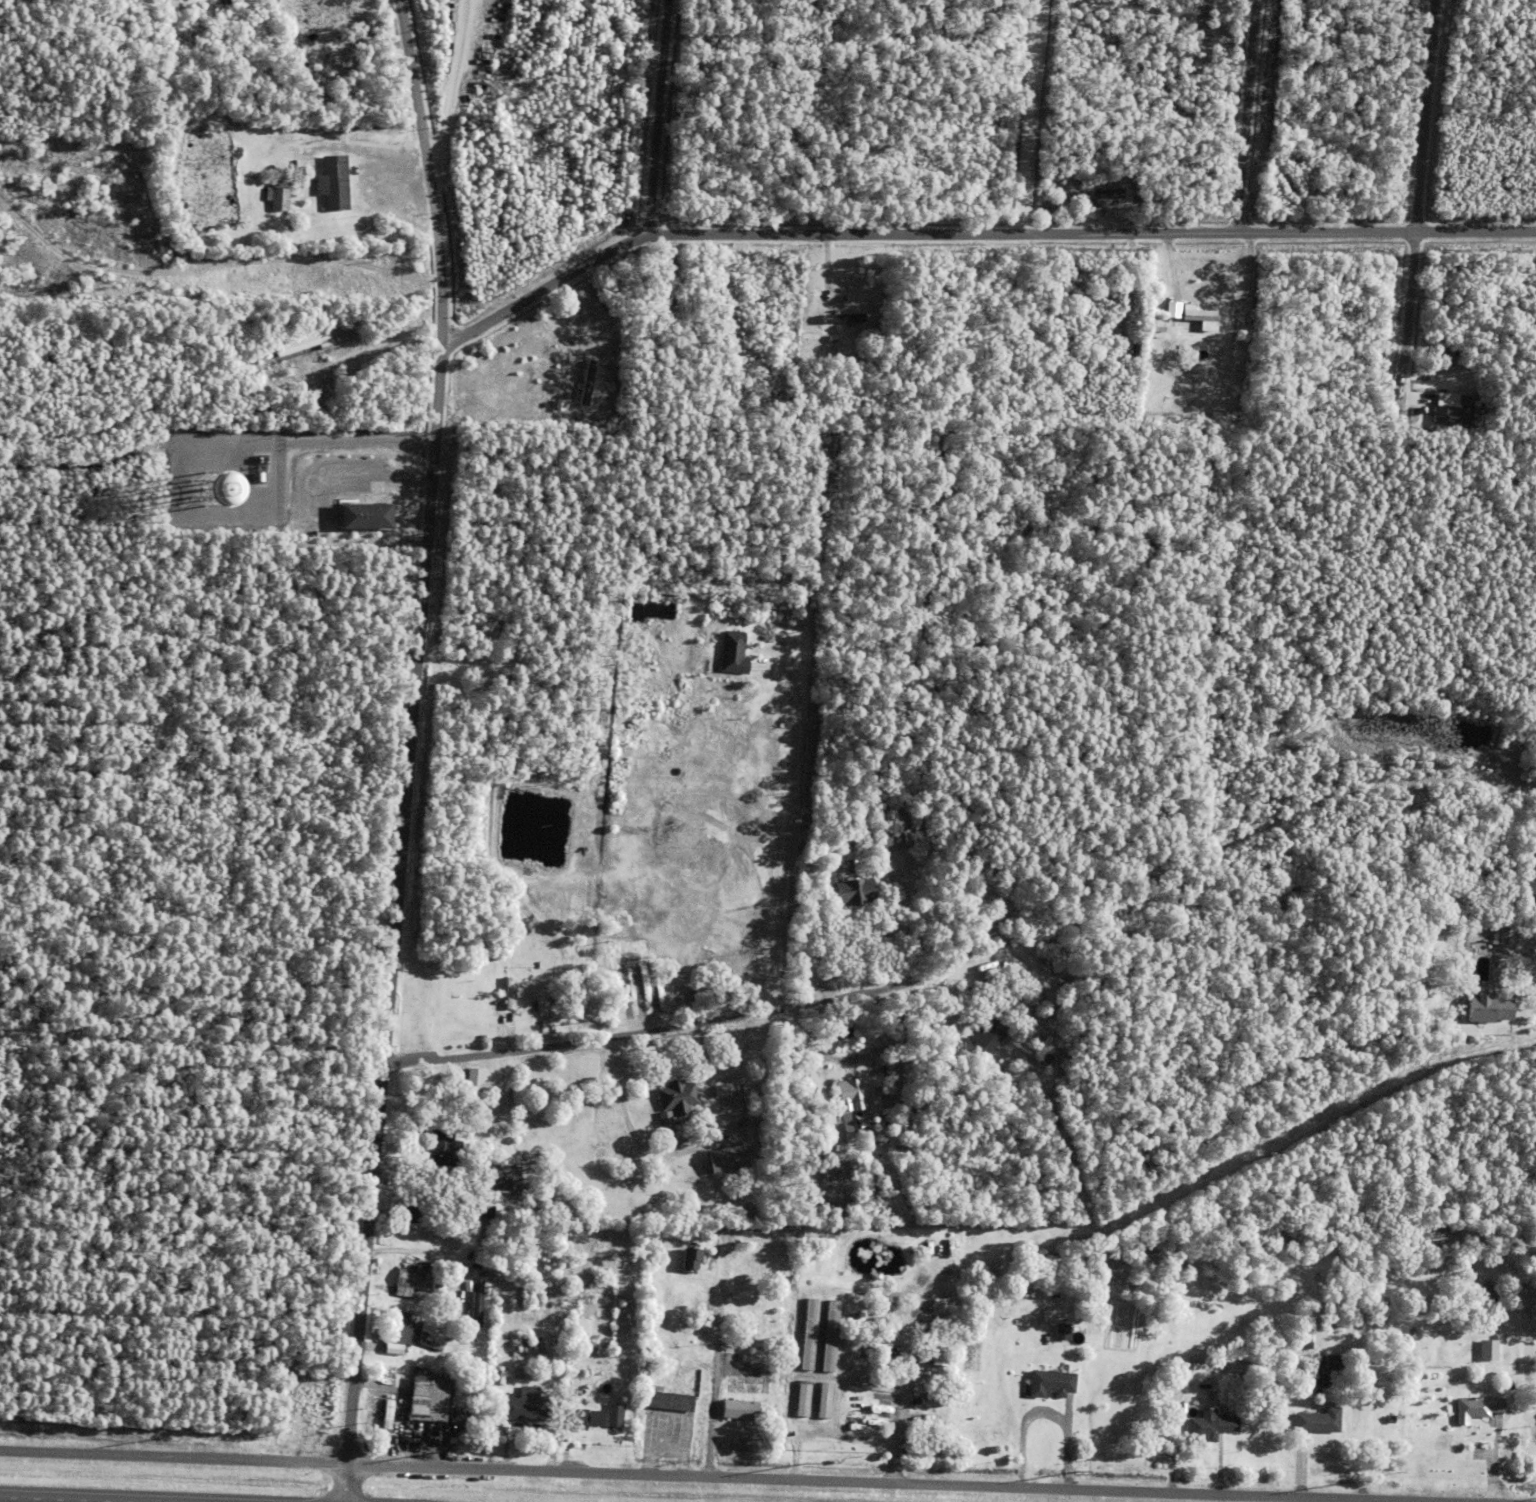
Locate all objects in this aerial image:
building: (219, 6)
building: (180, 30)
road: (855, 37)
road: (1249, 115)
road: (658, 116)
road: (1035, 116)
building: (313, 169)
building: (335, 183)
building: (1291, 185)
building: (1269, 188)
building: (1099, 195)
building: (277, 199)
road: (1419, 206)
road: (1092, 233)
road: (544, 288)
building: (1138, 302)
building: (1198, 316)
building: (844, 317)
building: (1514, 323)
building: (1335, 324)
building: (1158, 329)
building: (555, 334)
building: (345, 336)
building: (302, 343)
building: (1134, 351)
building: (541, 367)
building: (1451, 370)
building: (587, 383)
building: (1446, 403)
building: (555, 406)
building: (1446, 415)
building: (1426, 417)
building: (366, 516)
building: (732, 653)
road: (410, 750)
building: (890, 838)
building: (907, 840)
building: (849, 865)
road: (1531, 883)
building: (855, 892)
building: (1492, 938)
building: (698, 953)
building: (710, 959)
building: (1007, 966)
building: (551, 976)
road: (958, 979)
building: (1513, 991)
building: (510, 994)
building: (465, 995)
building: (475, 996)
road: (802, 1004)
building: (1487, 1010)
building: (988, 1034)
building: (471, 1081)
building: (856, 1090)
building: (730, 1094)
building: (672, 1095)
building: (913, 1103)
building: (895, 1120)
building: (665, 1121)
building: (842, 1125)
building: (852, 1135)
building: (438, 1147)
building: (722, 1158)
building: (479, 1169)
building: (500, 1178)
building: (403, 1209)
building: (480, 1210)
building: (690, 1246)
building: (405, 1277)
building: (449, 1288)
building: (1049, 1293)
building: (876, 1297)
building: (470, 1301)
building: (475, 1302)
building: (583, 1325)
building: (391, 1330)
building: (1058, 1331)
building: (804, 1334)
building: (825, 1336)
building: (424, 1342)
building: (1302, 1343)
building: (523, 1344)
building: (1488, 1349)
building: (915, 1355)
building: (1435, 1355)
building: (935, 1356)
building: (1321, 1367)
building: (1046, 1383)
building: (421, 1398)
building: (798, 1398)
building: (304, 1399)
building: (663, 1400)
building: (820, 1400)
building: (521, 1406)
building: (1471, 1408)
building: (735, 1410)
road: (713, 1411)
building: (381, 1413)
building: (611, 1415)
building: (575, 1417)
building: (592, 1418)
building: (1387, 1418)
building: (1313, 1421)
building: (1206, 1425)
road: (711, 1477)
road: (78, 1499)
road: (1396, 1501)

